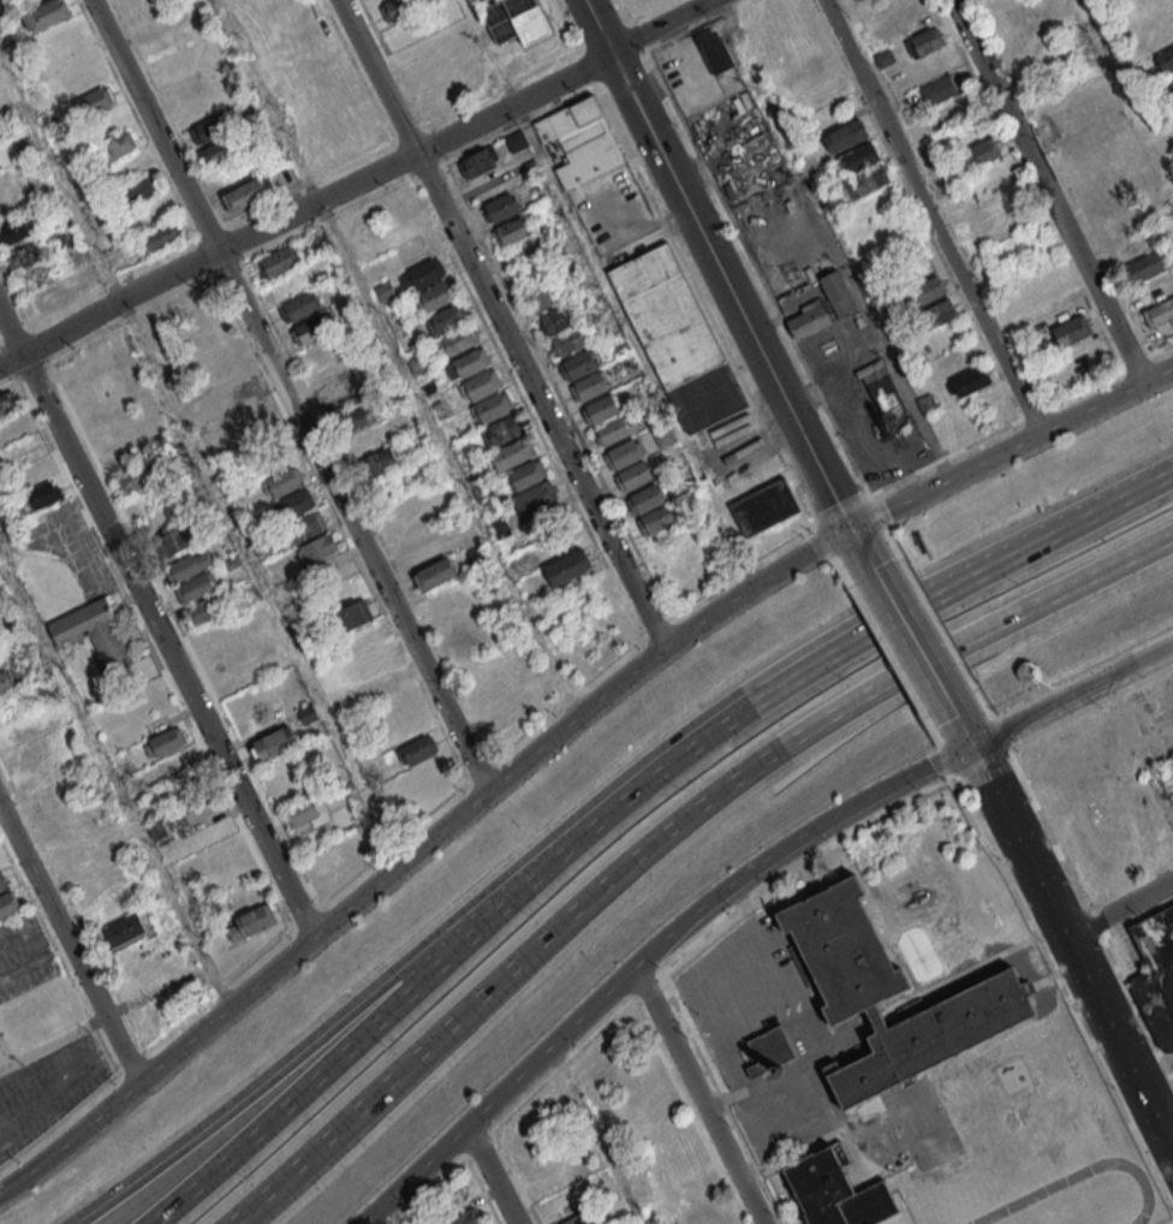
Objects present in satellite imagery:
building: (478, 1)
building: (50, 13)
building: (916, 18)
building: (516, 20)
building: (925, 42)
building: (714, 49)
building: (1165, 59)
building: (1172, 76)
building: (939, 89)
building: (94, 101)
building: (1056, 114)
road: (430, 123)
building: (209, 130)
building: (1074, 133)
building: (845, 136)
building: (583, 141)
building: (516, 142)
building: (117, 145)
building: (978, 154)
building: (859, 158)
building: (478, 161)
building: (0, 166)
building: (869, 179)
road: (356, 183)
building: (139, 190)
road: (1047, 191)
building: (246, 196)
building: (1106, 202)
building: (502, 208)
road: (935, 215)
building: (19, 228)
building: (513, 232)
building: (159, 237)
building: (278, 261)
road: (721, 263)
building: (1143, 267)
building: (423, 277)
building: (290, 284)
building: (1049, 285)
building: (925, 291)
building: (838, 296)
building: (436, 298)
building: (543, 298)
building: (299, 307)
building: (940, 313)
building: (1159, 313)
building: (447, 320)
building: (558, 321)
road: (506, 322)
building: (808, 322)
building: (309, 329)
building: (1071, 331)
building: (677, 338)
building: (458, 343)
building: (568, 343)
road: (891, 361)
building: (472, 364)
building: (580, 366)
road: (549, 370)
building: (971, 379)
building: (329, 381)
building: (482, 386)
building: (591, 387)
building: (238, 393)
road: (293, 394)
building: (886, 398)
building: (7, 403)
building: (494, 409)
building: (603, 410)
building: (251, 415)
building: (357, 416)
building: (505, 432)
building: (613, 432)
road: (858, 432)
building: (368, 439)
road: (1013, 448)
building: (512, 454)
building: (625, 456)
road: (451, 457)
building: (380, 462)
building: (1, 468)
building: (528, 476)
building: (633, 476)
building: (133, 479)
building: (282, 482)
building: (40, 495)
building: (537, 499)
building: (648, 500)
building: (294, 504)
building: (764, 506)
building: (659, 521)
building: (305, 527)
traffic signals: (855, 529)
building: (175, 540)
road: (861, 540)
building: (316, 548)
building: (422, 553)
building: (187, 565)
building: (571, 569)
building: (435, 575)
road: (960, 583)
building: (196, 587)
building: (206, 608)
building: (355, 613)
road: (847, 622)
road: (159, 624)
building: (94, 632)
road: (916, 638)
building: (464, 643)
building: (373, 660)
building: (6, 683)
road: (1074, 694)
building: (306, 713)
road: (970, 735)
building: (165, 742)
building: (273, 742)
traffic signals: (976, 744)
building: (418, 749)
road: (1137, 750)
building: (52, 798)
building: (195, 809)
building: (305, 813)
road: (668, 831)
road: (419, 850)
building: (327, 855)
building: (2, 883)
building: (8, 904)
road: (1121, 908)
building: (249, 922)
road: (742, 928)
building: (124, 929)
road: (72, 938)
road: (1077, 947)
road: (648, 953)
road: (448, 958)
building: (1156, 974)
building: (889, 994)
road: (320, 1035)
road: (54, 1038)
building: (769, 1051)
road: (697, 1094)
road: (1168, 1130)
road: (600, 1133)
road: (496, 1174)
building: (550, 1180)
building: (836, 1190)
road: (394, 1212)
building: (704, 1213)
building: (466, 1218)
building: (576, 1219)
building: (726, 1223)

